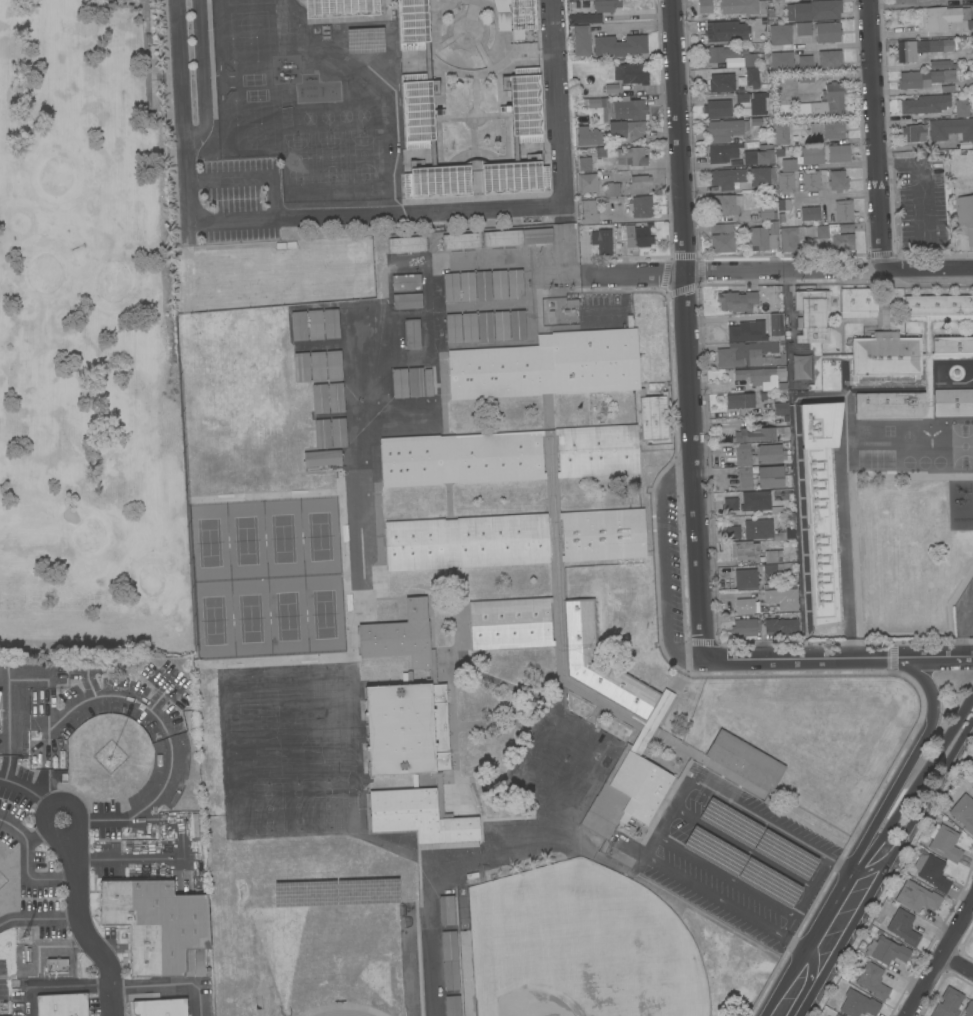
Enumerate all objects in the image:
building: (904, 1)
building: (959, 2)
building: (606, 6)
building: (704, 6)
building: (739, 7)
building: (340, 8)
building: (814, 11)
building: (523, 14)
building: (946, 18)
building: (585, 19)
building: (803, 29)
building: (725, 31)
building: (828, 32)
building: (780, 34)
building: (581, 40)
building: (939, 45)
building: (619, 46)
building: (907, 51)
building: (719, 54)
building: (752, 59)
building: (828, 60)
building: (781, 62)
road: (920, 62)
building: (805, 63)
building: (943, 64)
building: (633, 73)
road: (204, 75)
building: (752, 77)
building: (806, 78)
building: (924, 78)
building: (721, 83)
building: (611, 88)
building: (416, 90)
building: (741, 96)
road: (558, 103)
building: (594, 103)
building: (759, 103)
building: (823, 104)
building: (925, 104)
building: (962, 108)
building: (629, 109)
building: (717, 109)
building: (951, 129)
building: (626, 130)
building: (722, 130)
building: (828, 130)
building: (915, 132)
road: (875, 133)
building: (781, 134)
road: (677, 136)
building: (589, 137)
road: (914, 146)
building: (723, 152)
building: (838, 154)
building: (812, 155)
building: (759, 156)
park: (331, 157)
building: (631, 157)
building: (585, 164)
building: (788, 165)
road: (252, 175)
building: (761, 176)
building: (726, 178)
building: (810, 181)
building: (837, 181)
building: (785, 182)
building: (587, 183)
building: (638, 184)
building: (964, 188)
building: (613, 192)
road: (837, 195)
parking lot: (240, 199)
building: (725, 204)
building: (783, 205)
building: (640, 206)
building: (843, 211)
building: (589, 212)
building: (767, 213)
building: (810, 214)
building: (966, 216)
road: (268, 217)
building: (827, 217)
building: (815, 232)
building: (537, 236)
building: (837, 236)
building: (634, 237)
building: (502, 238)
building: (722, 238)
building: (758, 238)
building: (790, 239)
building: (602, 240)
building: (461, 241)
building: (407, 245)
road: (928, 267)
road: (715, 271)
building: (406, 282)
building: (515, 284)
building: (499, 285)
building: (483, 286)
building: (467, 287)
building: (451, 288)
building: (407, 301)
building: (736, 301)
building: (858, 303)
building: (938, 308)
building: (331, 324)
building: (315, 325)
building: (517, 325)
building: (775, 325)
building: (299, 326)
building: (485, 326)
building: (501, 326)
building: (469, 327)
building: (530, 327)
building: (453, 329)
building: (746, 332)
building: (412, 334)
park: (88, 338)
building: (818, 343)
building: (947, 347)
building: (744, 354)
building: (885, 355)
building: (333, 365)
building: (548, 366)
building: (318, 367)
building: (802, 367)
building: (302, 368)
building: (759, 379)
building: (416, 382)
building: (427, 382)
building: (399, 383)
building: (336, 397)
building: (320, 399)
building: (739, 401)
building: (897, 402)
building: (953, 403)
building: (780, 408)
building: (653, 416)
building: (338, 433)
building: (322, 434)
building: (760, 434)
building: (961, 445)
building: (926, 448)
building: (768, 454)
building: (743, 455)
building: (939, 455)
building: (509, 456)
building: (322, 458)
building: (961, 461)
road: (693, 466)
building: (769, 477)
building: (745, 478)
building: (962, 480)
building: (962, 499)
building: (756, 501)
building: (819, 501)
building: (730, 504)
building: (963, 515)
building: (764, 530)
building: (966, 531)
building: (733, 532)
park: (280, 536)
park: (320, 536)
building: (515, 538)
park: (208, 542)
park: (246, 542)
building: (969, 549)
building: (744, 551)
building: (773, 556)
road: (664, 567)
building: (773, 569)
building: (745, 579)
building: (782, 599)
building: (747, 606)
park: (324, 613)
park: (288, 617)
park: (249, 619)
park: (212, 622)
road: (963, 622)
building: (780, 625)
building: (745, 627)
building: (402, 638)
road: (847, 642)
road: (928, 655)
road: (793, 660)
building: (584, 690)
road: (91, 696)
road: (8, 726)
road: (914, 752)
building: (411, 761)
building: (745, 761)
road: (920, 779)
road: (684, 789)
road: (34, 794)
road: (927, 798)
park: (328, 805)
park: (297, 806)
road: (140, 808)
park: (267, 808)
building: (964, 813)
road: (667, 821)
building: (195, 825)
road: (42, 829)
building: (142, 835)
building: (113, 840)
building: (137, 843)
building: (944, 843)
road: (651, 848)
building: (137, 849)
parking lot: (735, 857)
road: (29, 862)
building: (140, 872)
building: (932, 872)
building: (916, 897)
building: (447, 911)
road: (38, 918)
road: (82, 921)
building: (157, 925)
road: (788, 926)
building: (903, 927)
road: (826, 940)
park: (584, 945)
building: (886, 951)
road: (942, 958)
building: (450, 961)
road: (958, 964)
building: (58, 967)
building: (872, 981)
road: (167, 984)
road: (57, 986)
building: (948, 1003)
building: (62, 1005)
building: (858, 1005)
building: (452, 1006)
building: (160, 1008)
building: (969, 1009)
track: (343, 1013)
building: (836, 1015)

